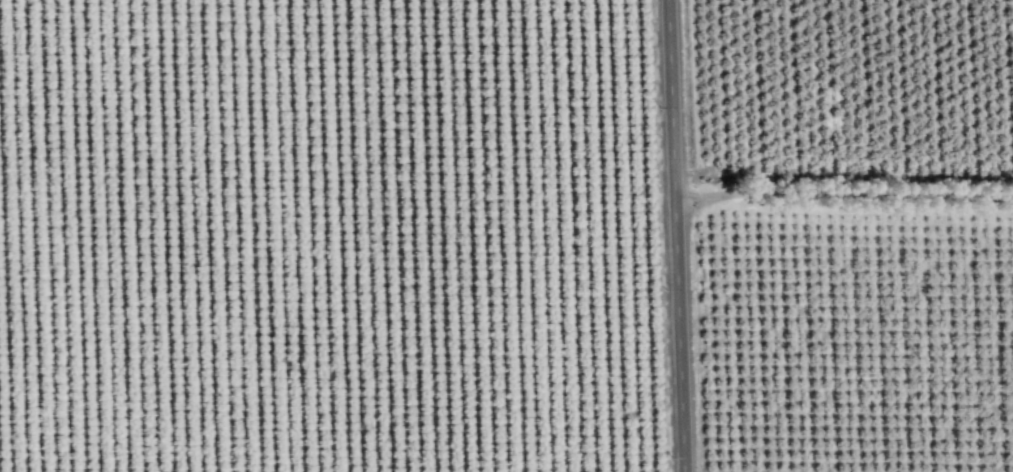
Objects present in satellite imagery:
road: (842, 193)
road: (673, 236)

